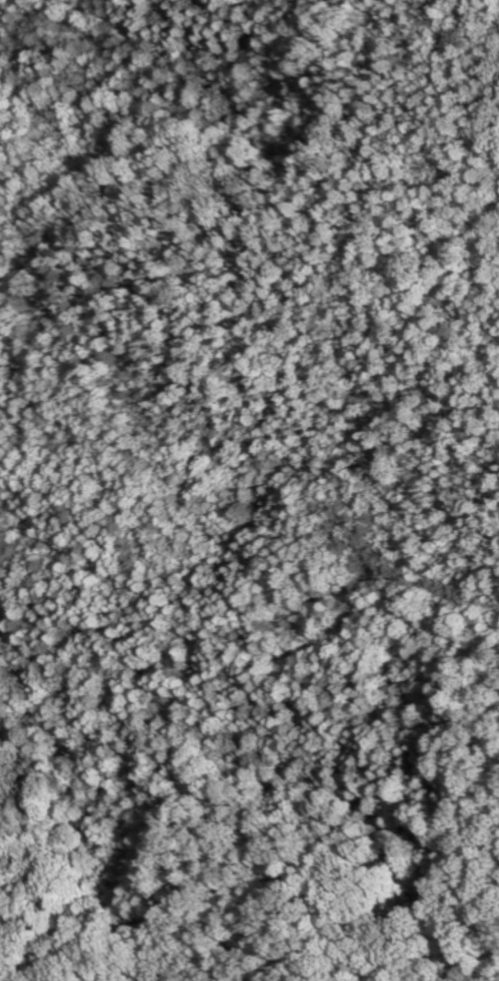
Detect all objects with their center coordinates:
road: (452, 167)

